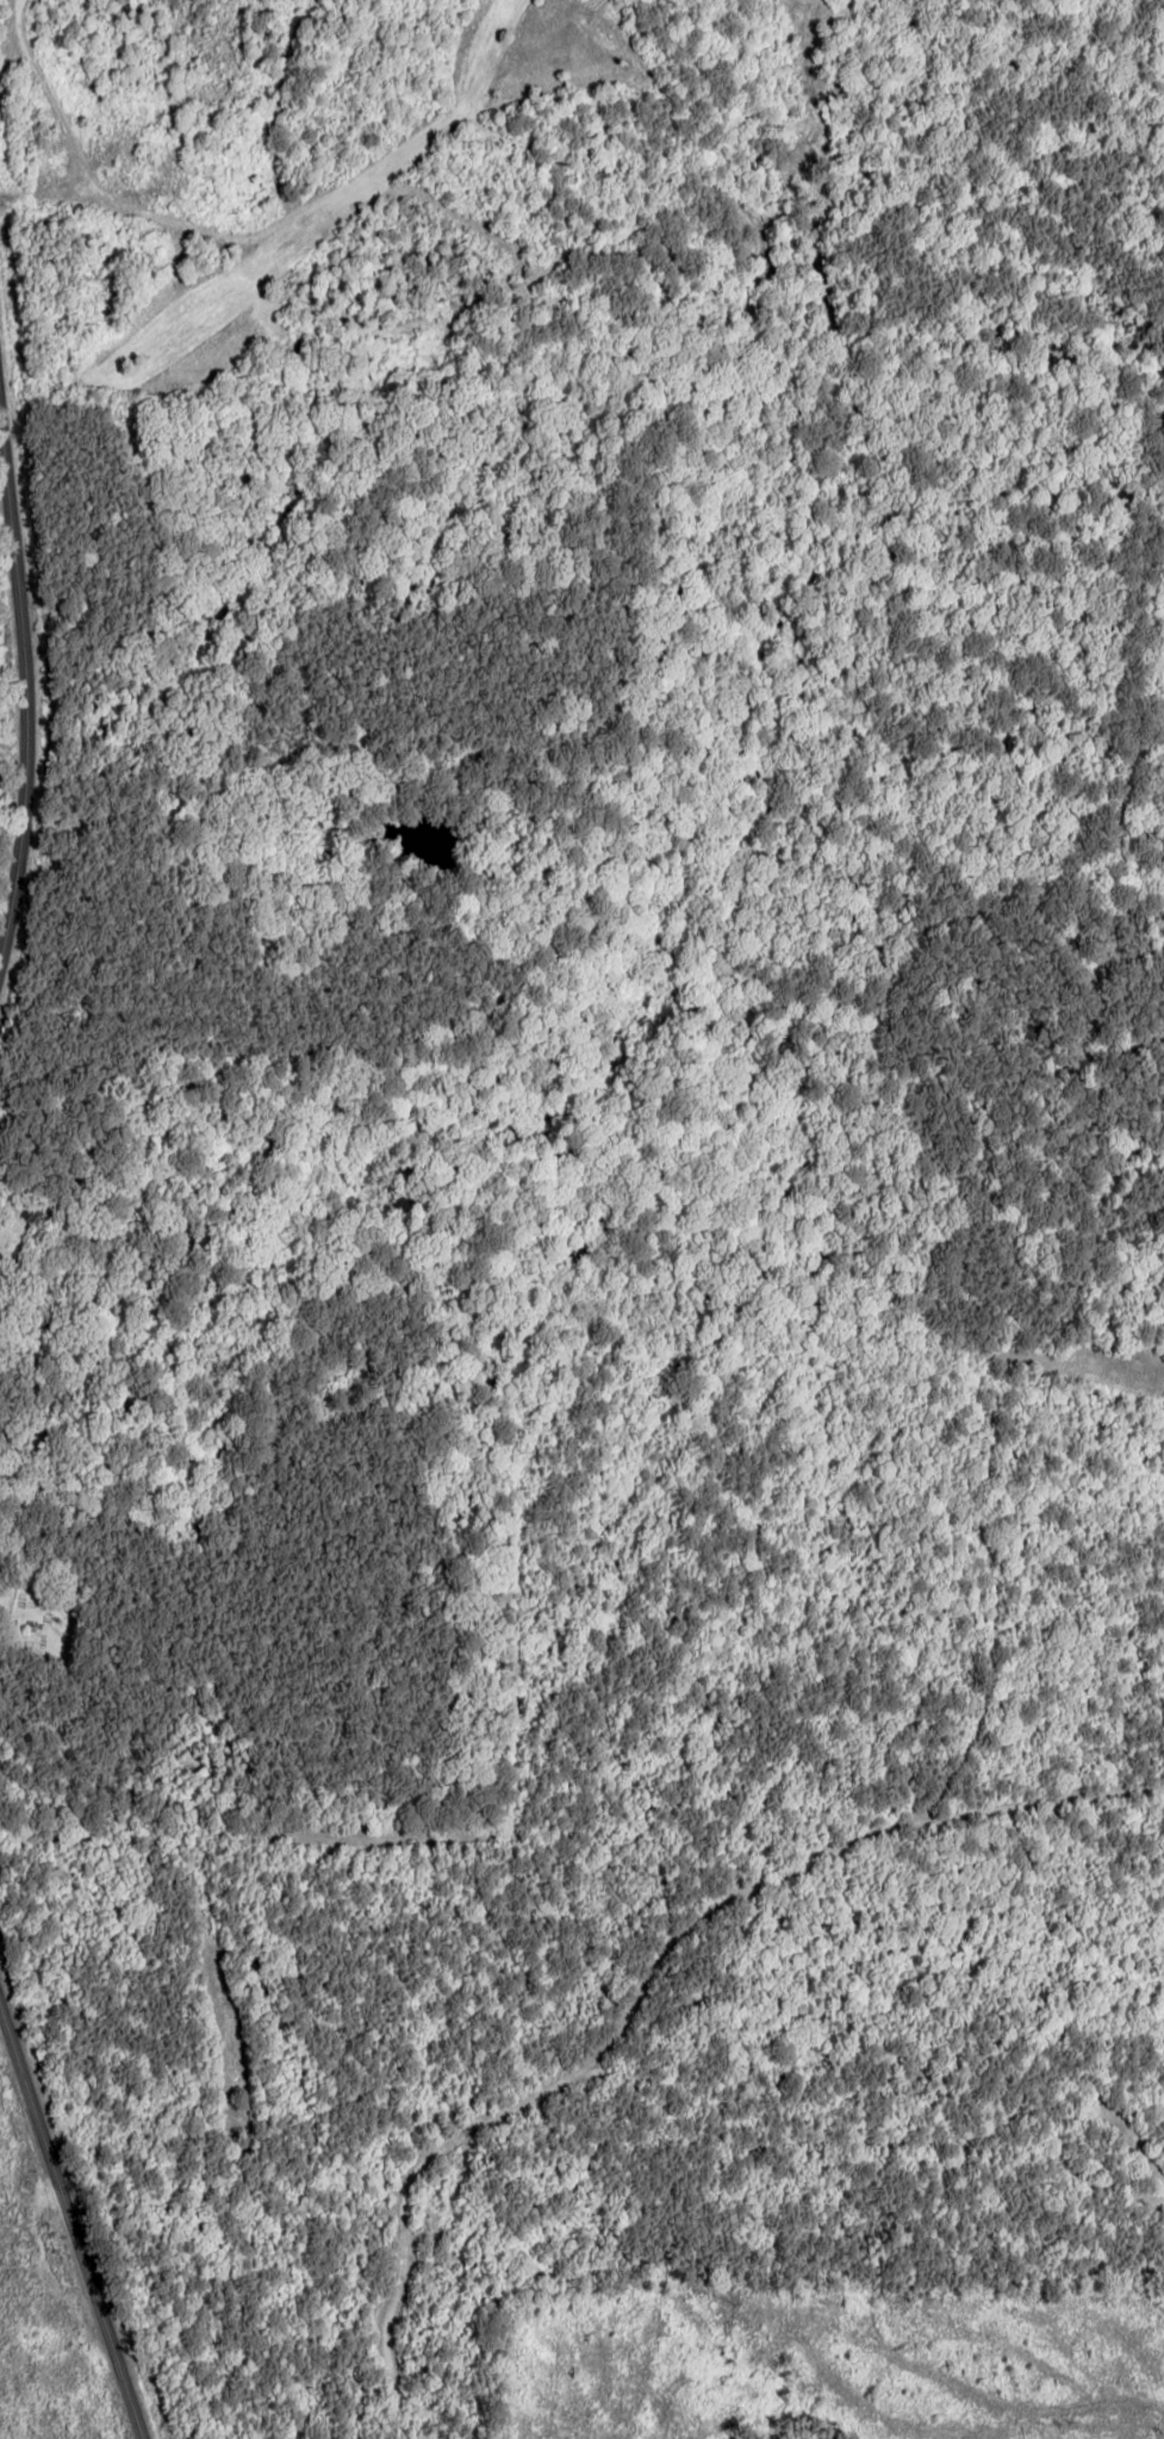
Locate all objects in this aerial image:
road: (5, 827)
road: (68, 2227)

